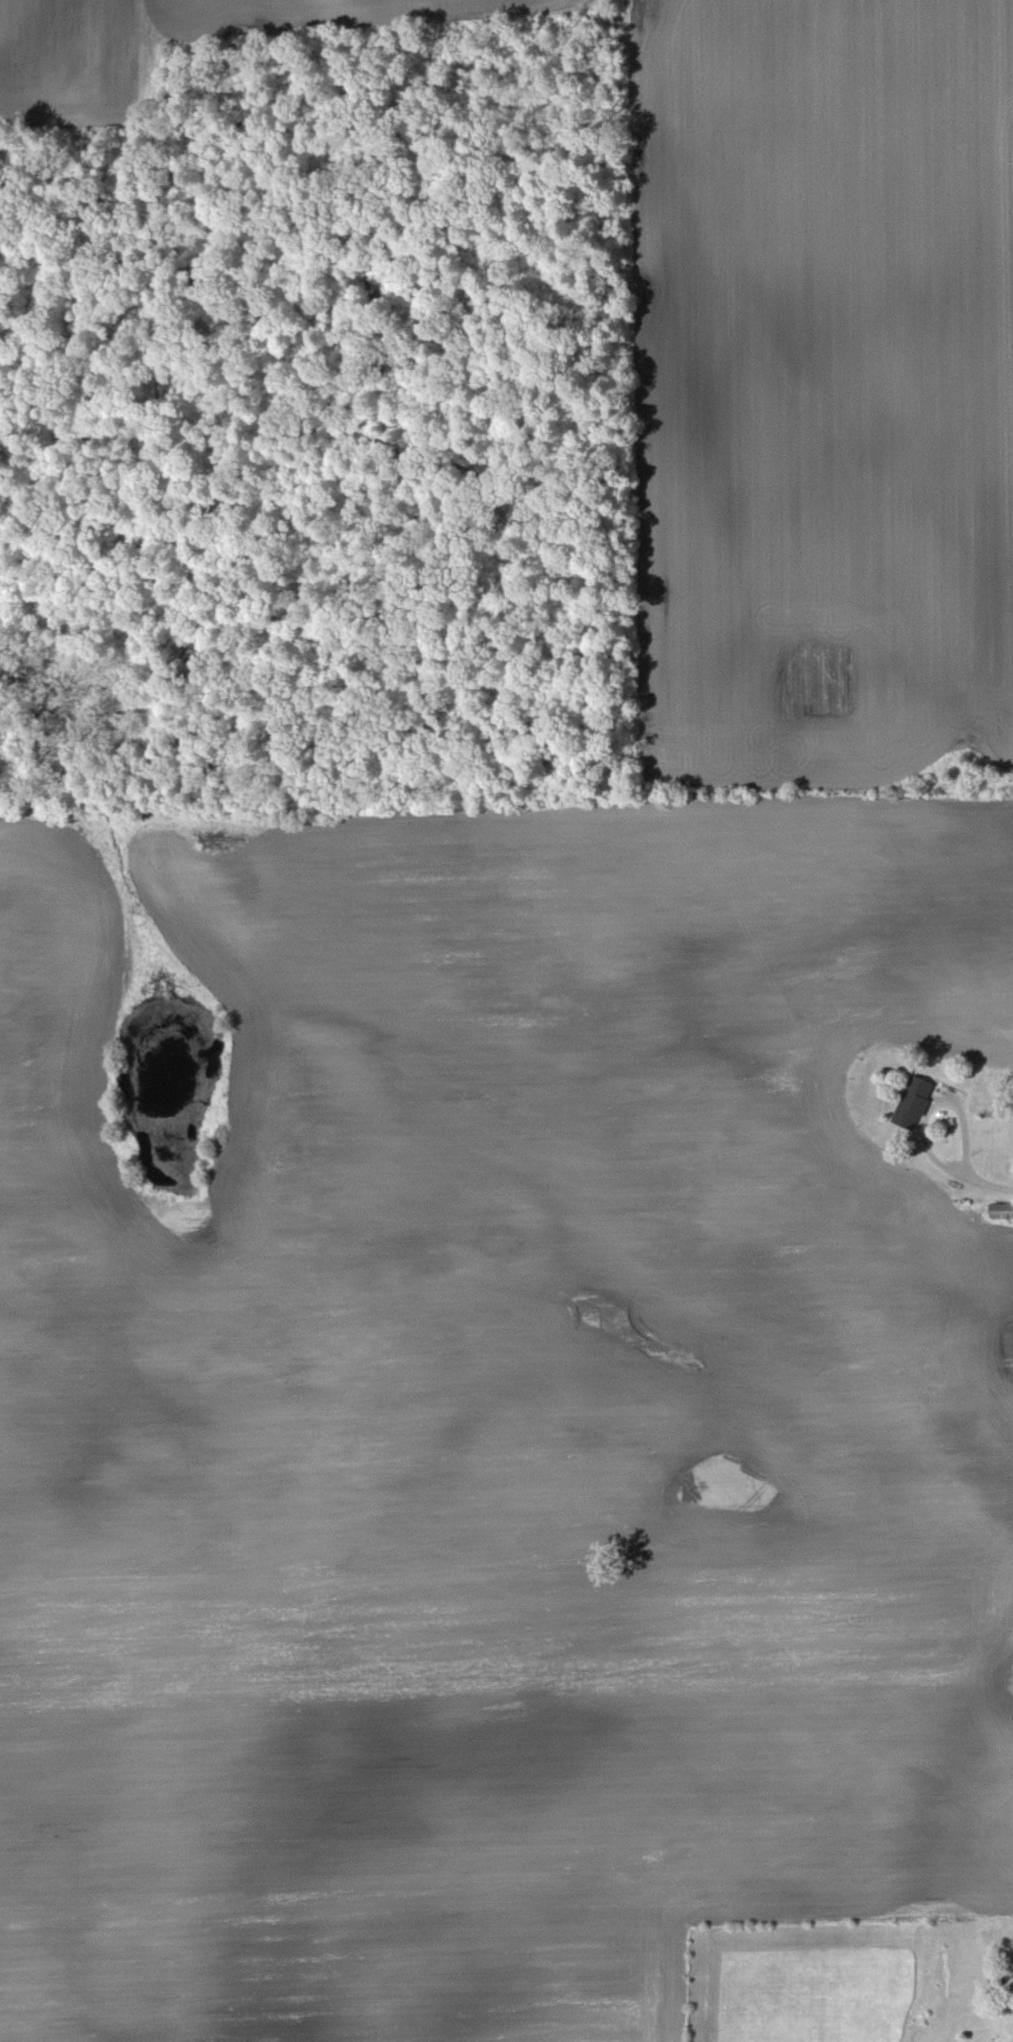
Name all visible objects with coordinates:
building: (914, 1102)
road: (934, 1103)
road: (989, 1185)
building: (1001, 1211)

